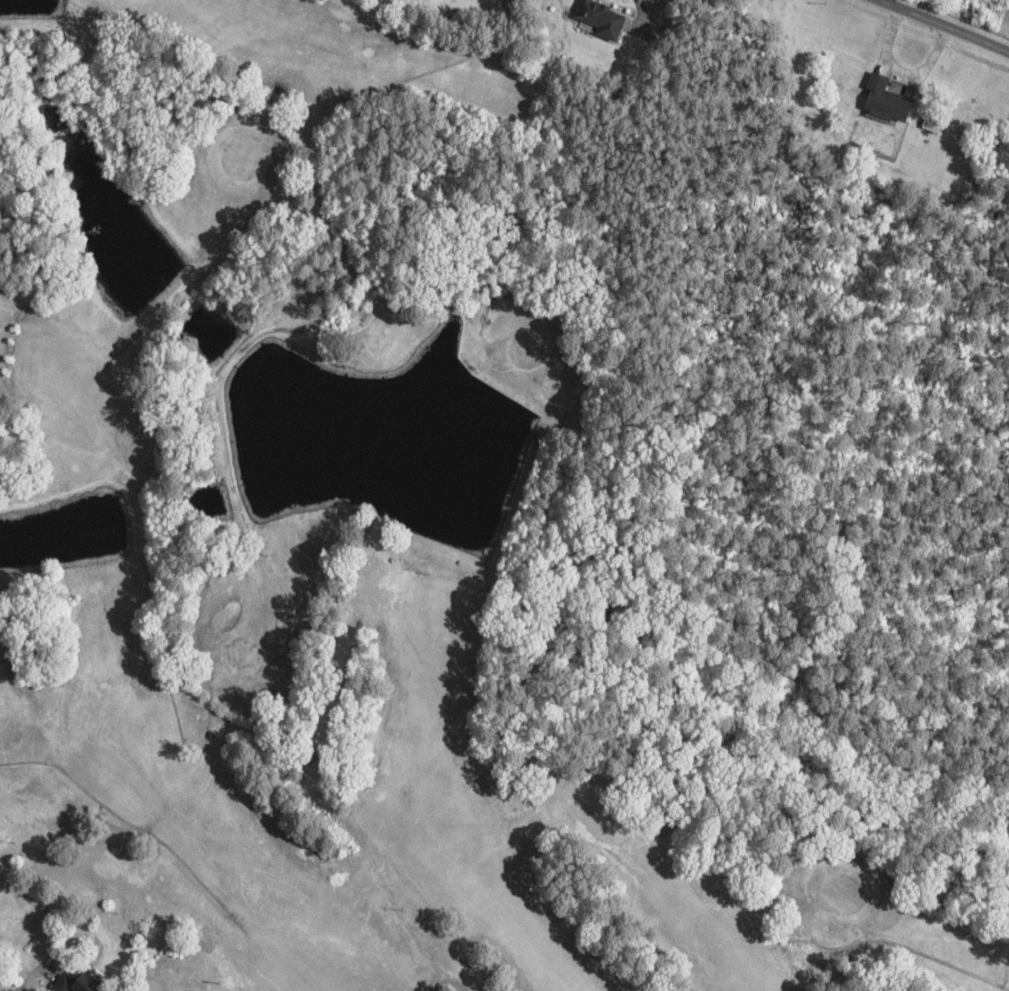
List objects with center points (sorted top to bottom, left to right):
road: (959, 19)
building: (601, 20)
building: (889, 101)
building: (934, 126)
building: (83, 982)

